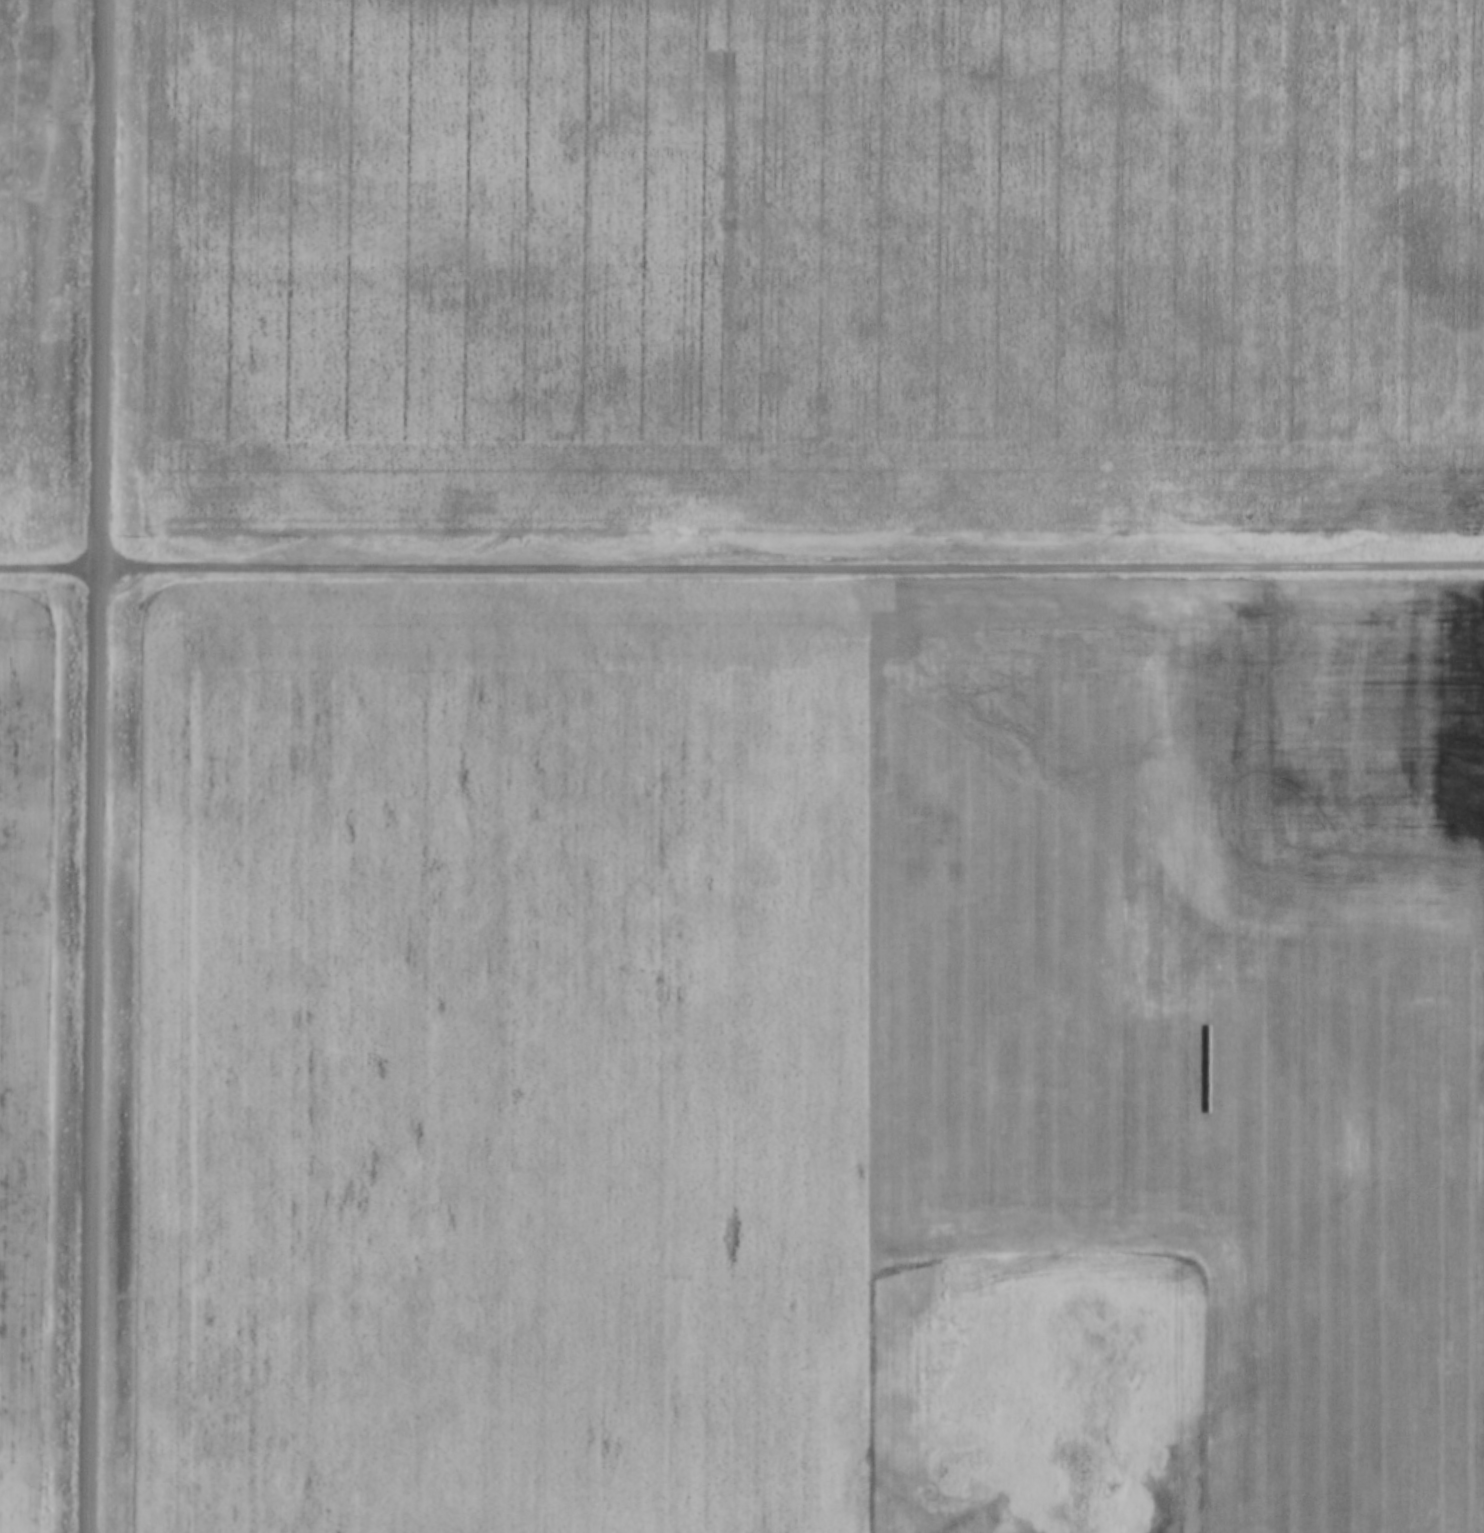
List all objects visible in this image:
road: (49, 565)
road: (790, 565)
road: (94, 766)

